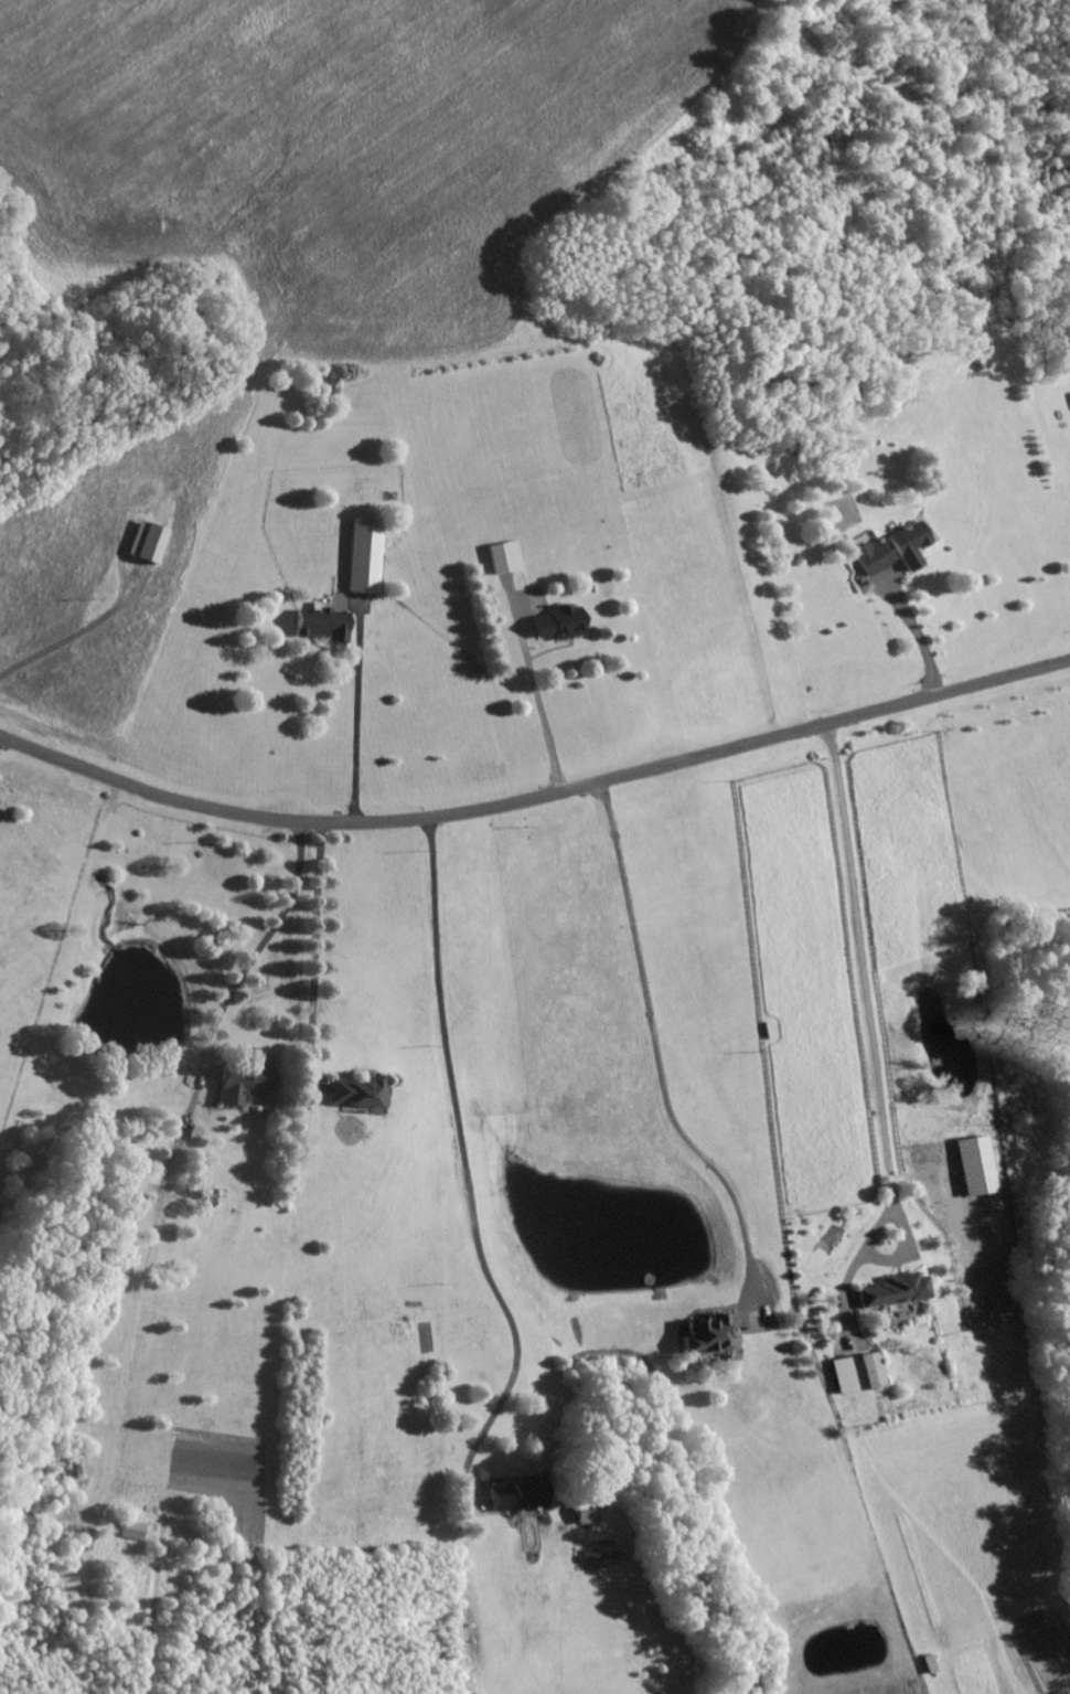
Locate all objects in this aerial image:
building: (149, 543)
building: (908, 545)
building: (507, 558)
building: (871, 558)
building: (324, 625)
building: (561, 625)
road: (918, 635)
road: (74, 637)
road: (538, 699)
road: (360, 714)
road: (535, 798)
road: (127, 839)
road: (250, 852)
road: (314, 959)
road: (245, 972)
road: (865, 981)
road: (655, 1050)
building: (243, 1085)
building: (354, 1095)
road: (463, 1158)
building: (973, 1166)
building: (894, 1292)
building: (708, 1336)
building: (857, 1374)
building: (580, 1512)
building: (131, 1532)

